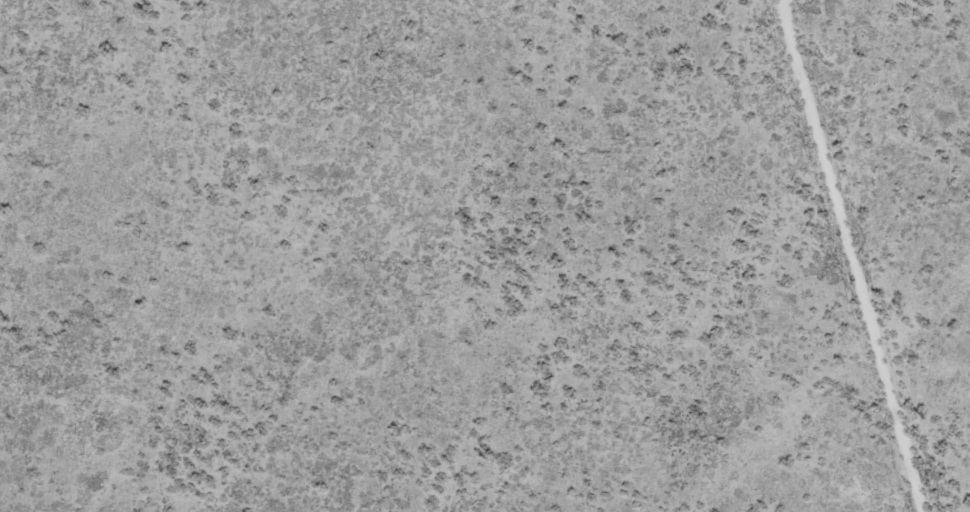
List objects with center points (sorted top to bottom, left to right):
road: (848, 256)

